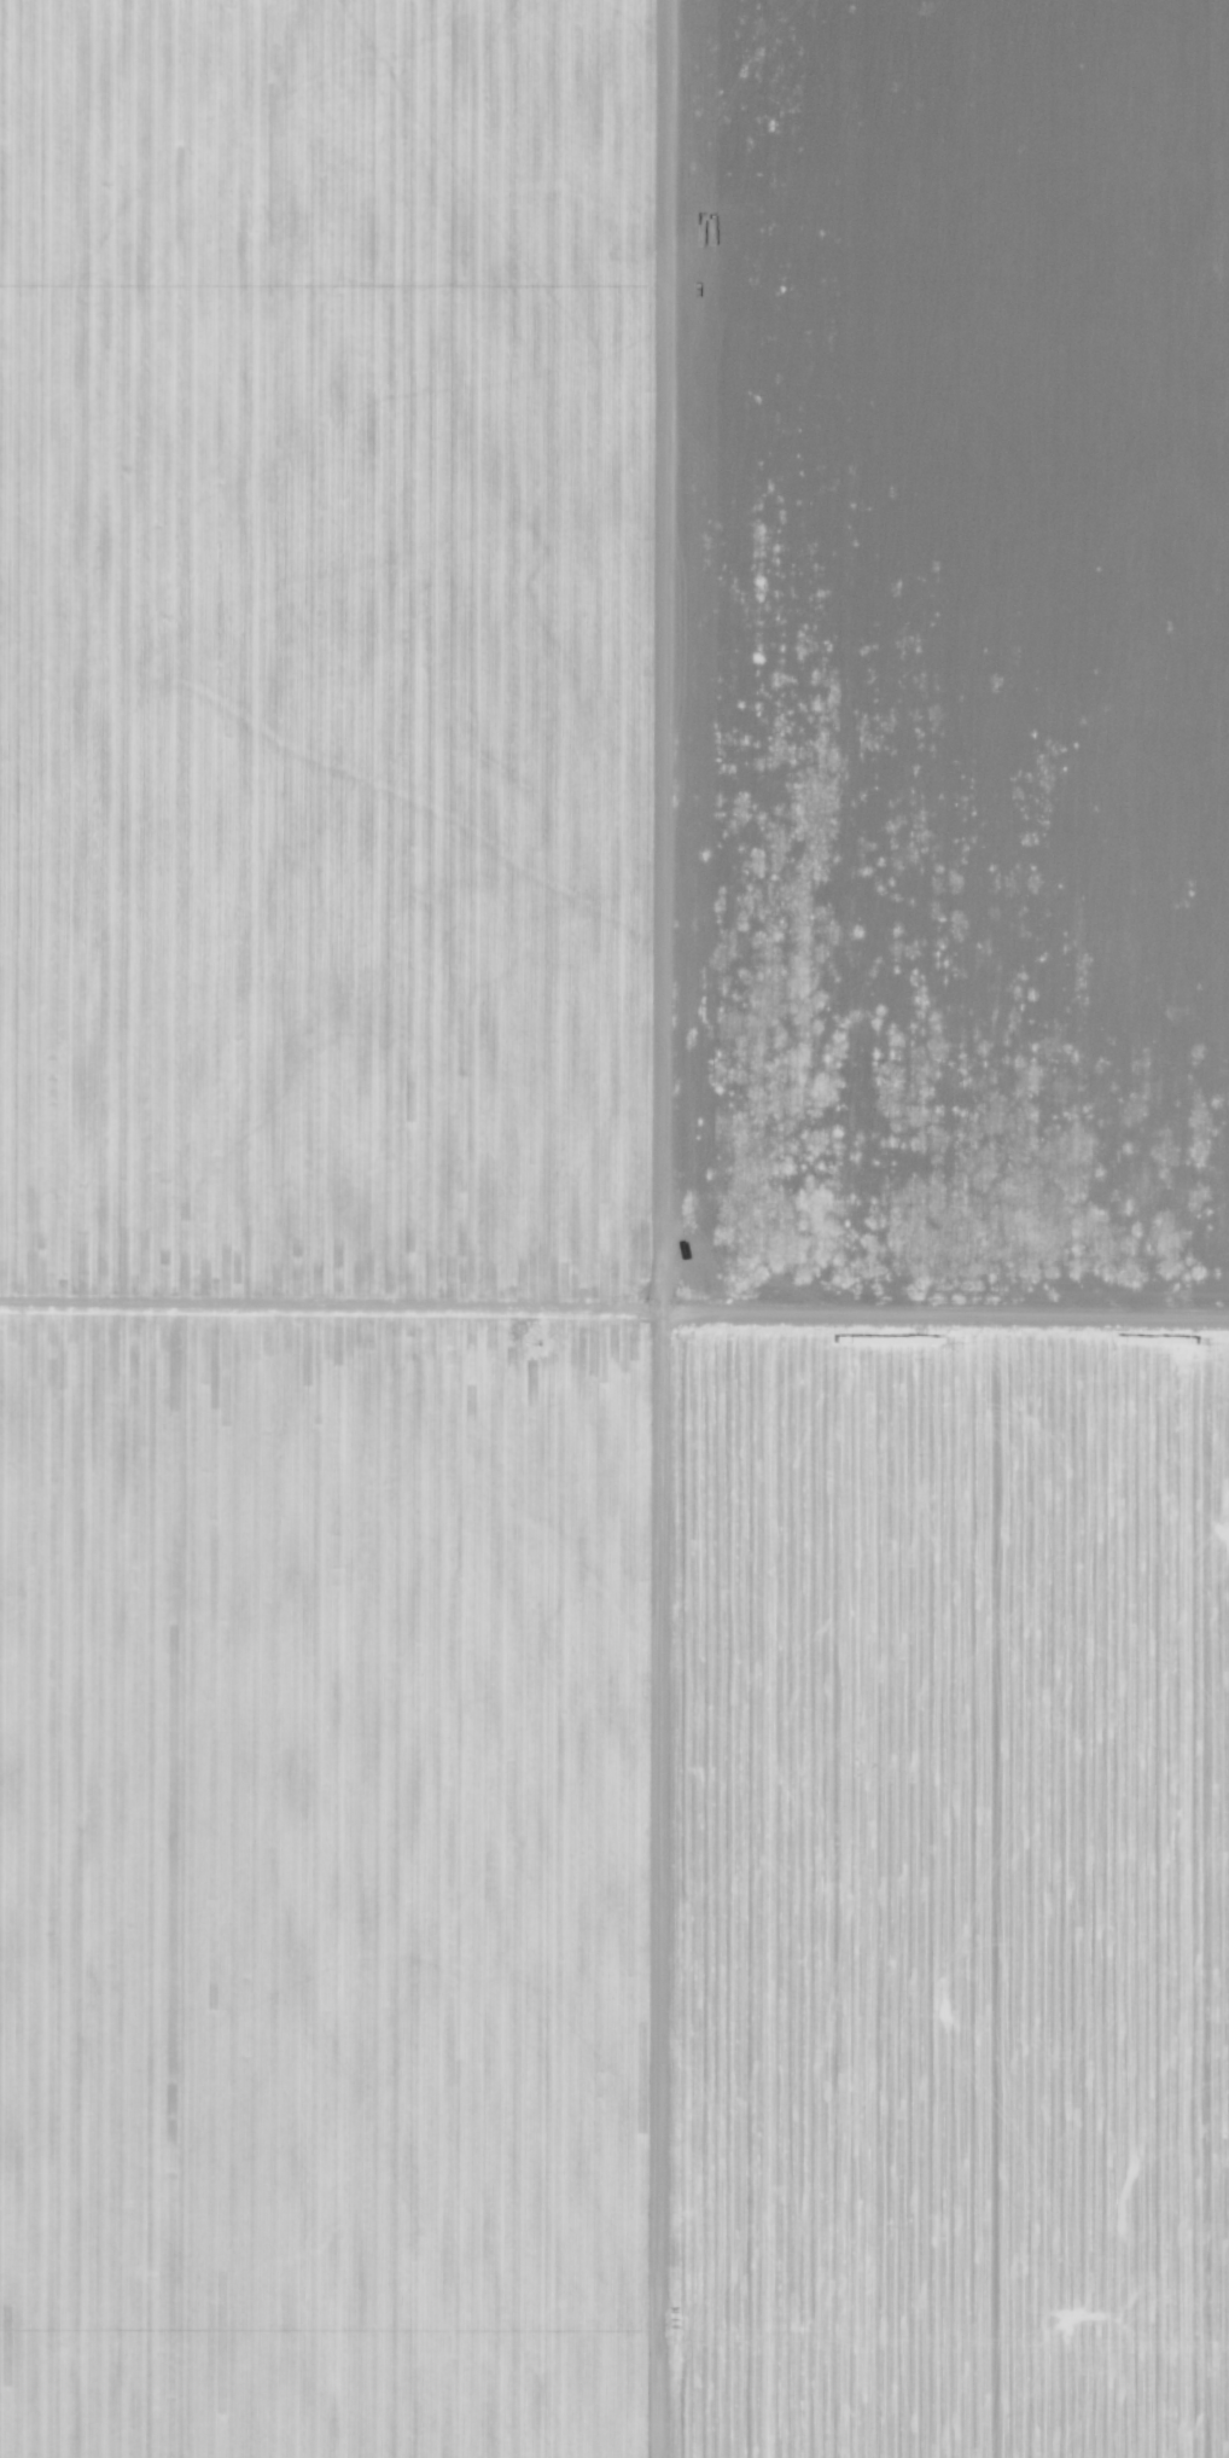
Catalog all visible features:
road: (677, 653)
road: (614, 1306)
road: (666, 1882)
crop: (919, 1896)

